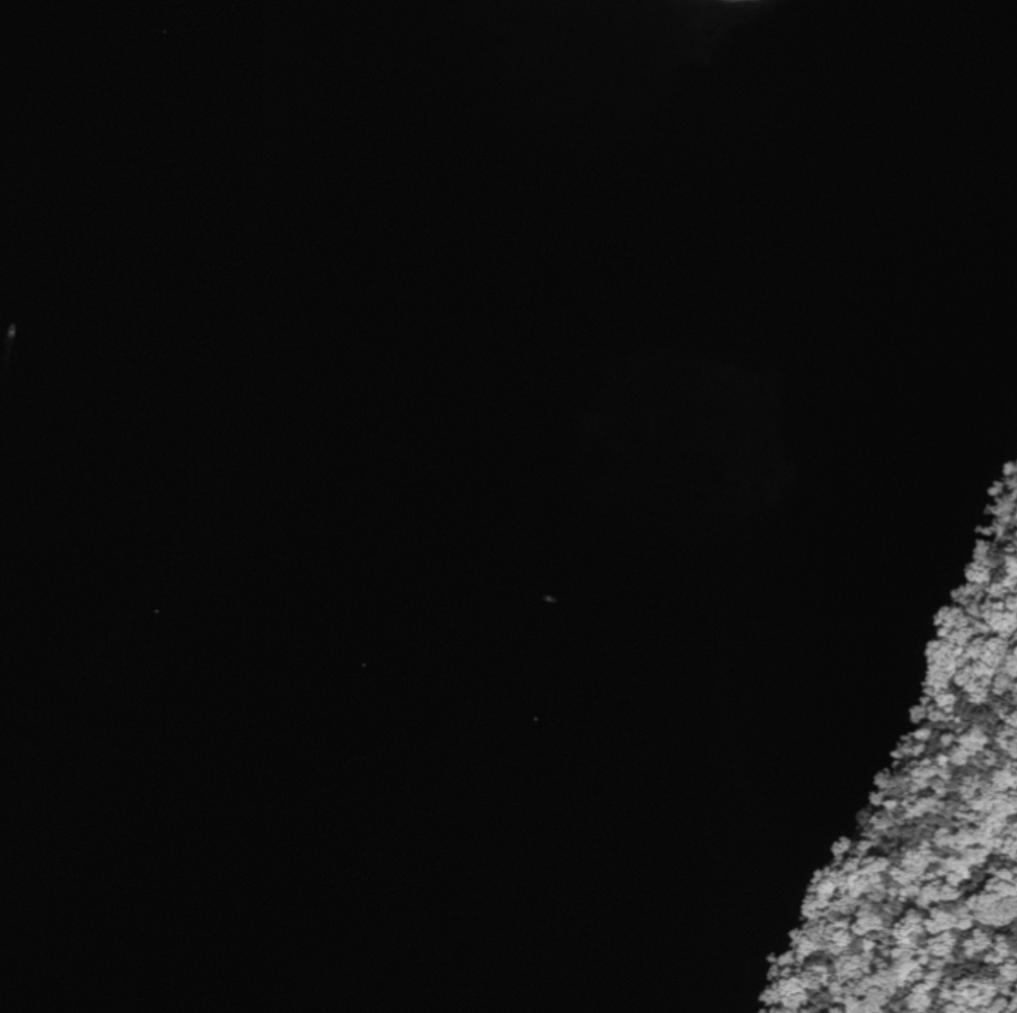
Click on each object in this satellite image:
river: (248, 507)

